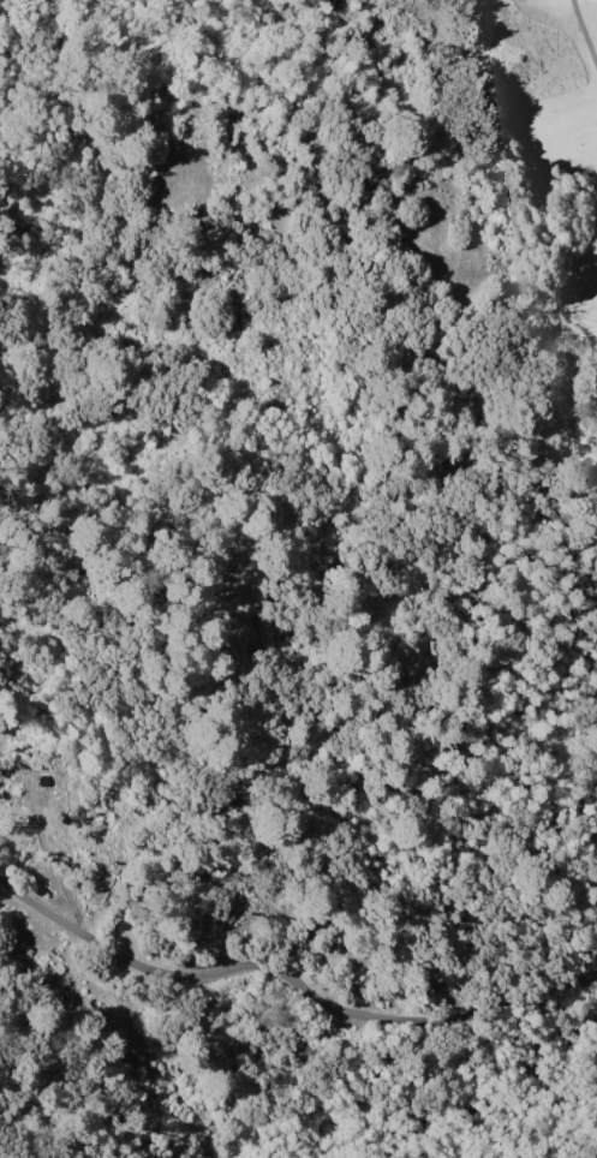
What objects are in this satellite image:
road: (584, 32)
park: (553, 157)
road: (289, 977)

